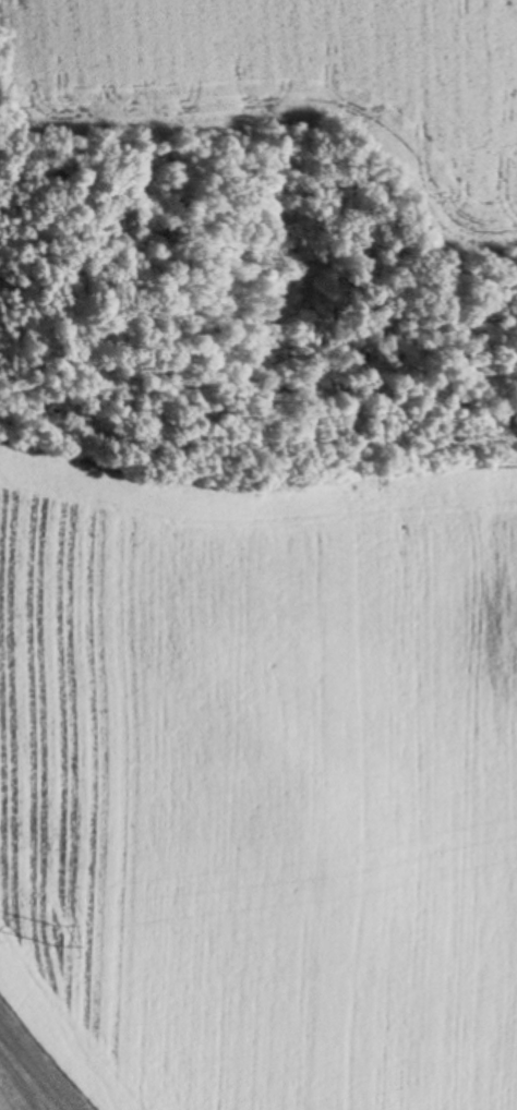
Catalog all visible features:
power tower: (62, 937)

